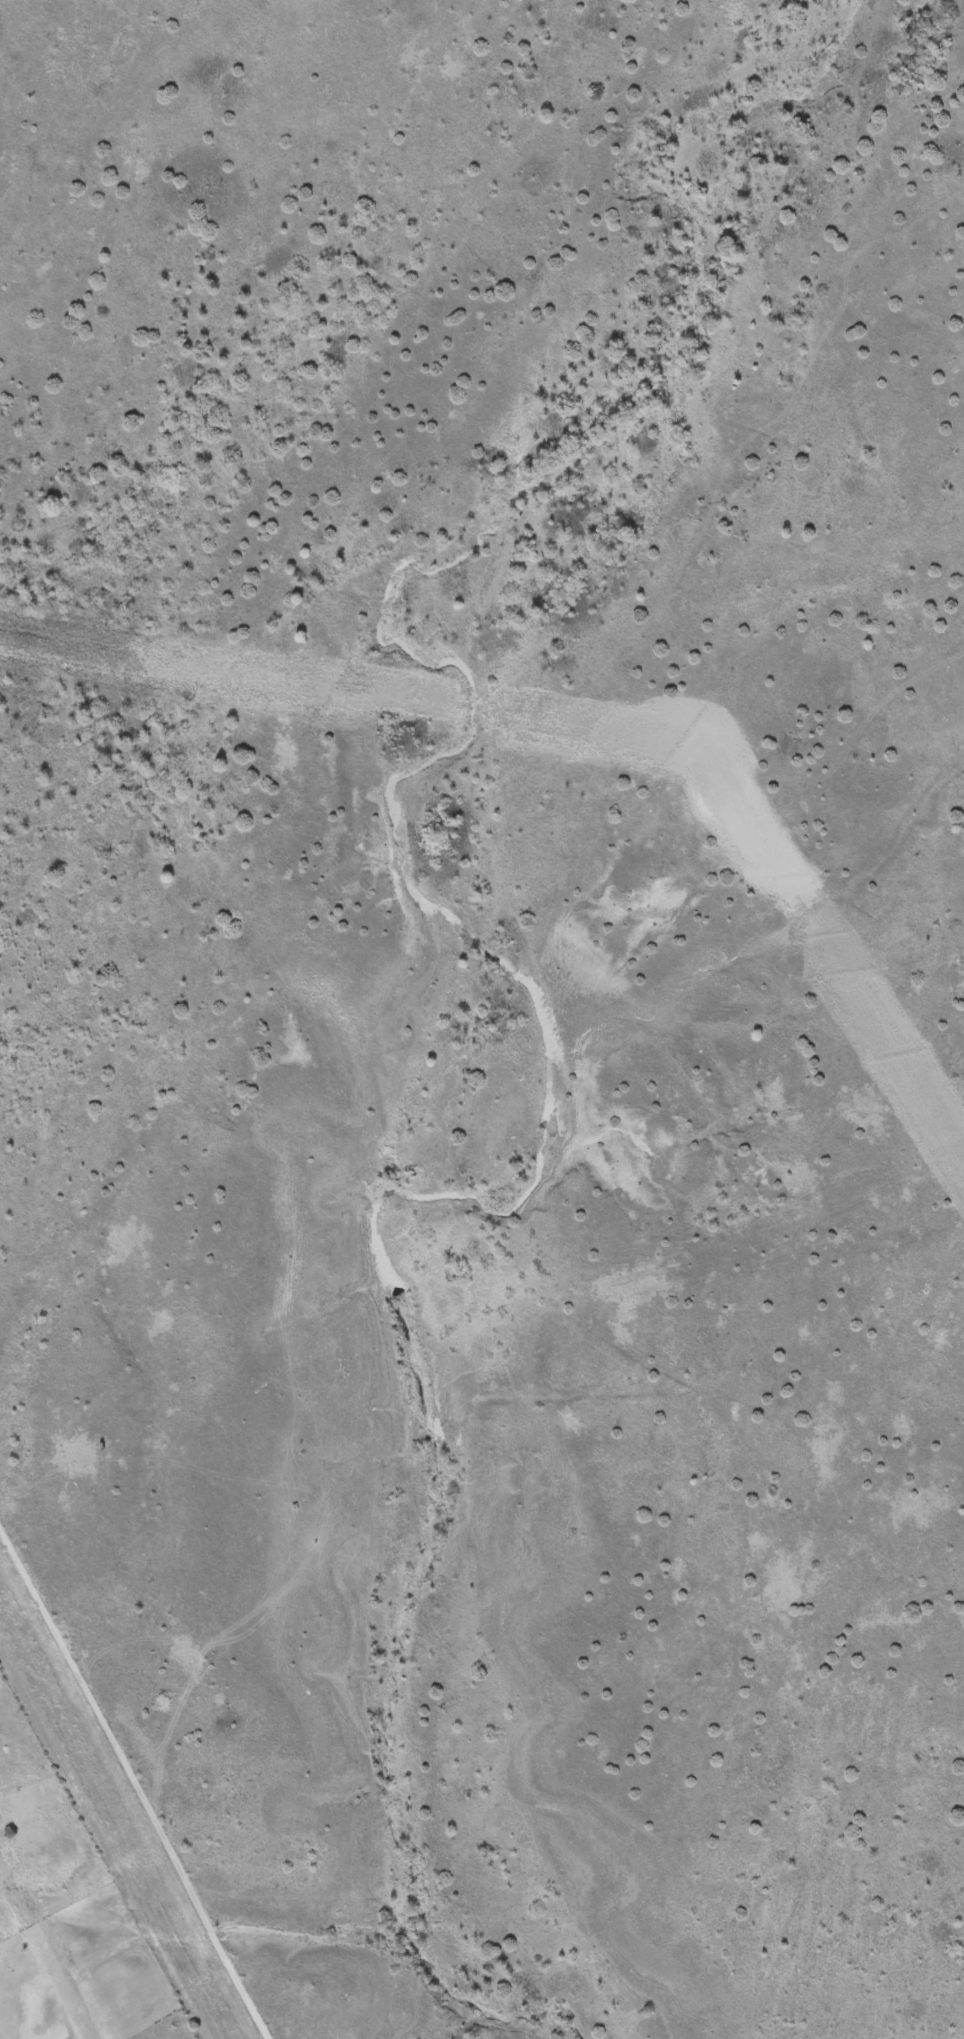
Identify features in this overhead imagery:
road: (134, 1784)
road: (872, 1815)
road: (817, 1948)

